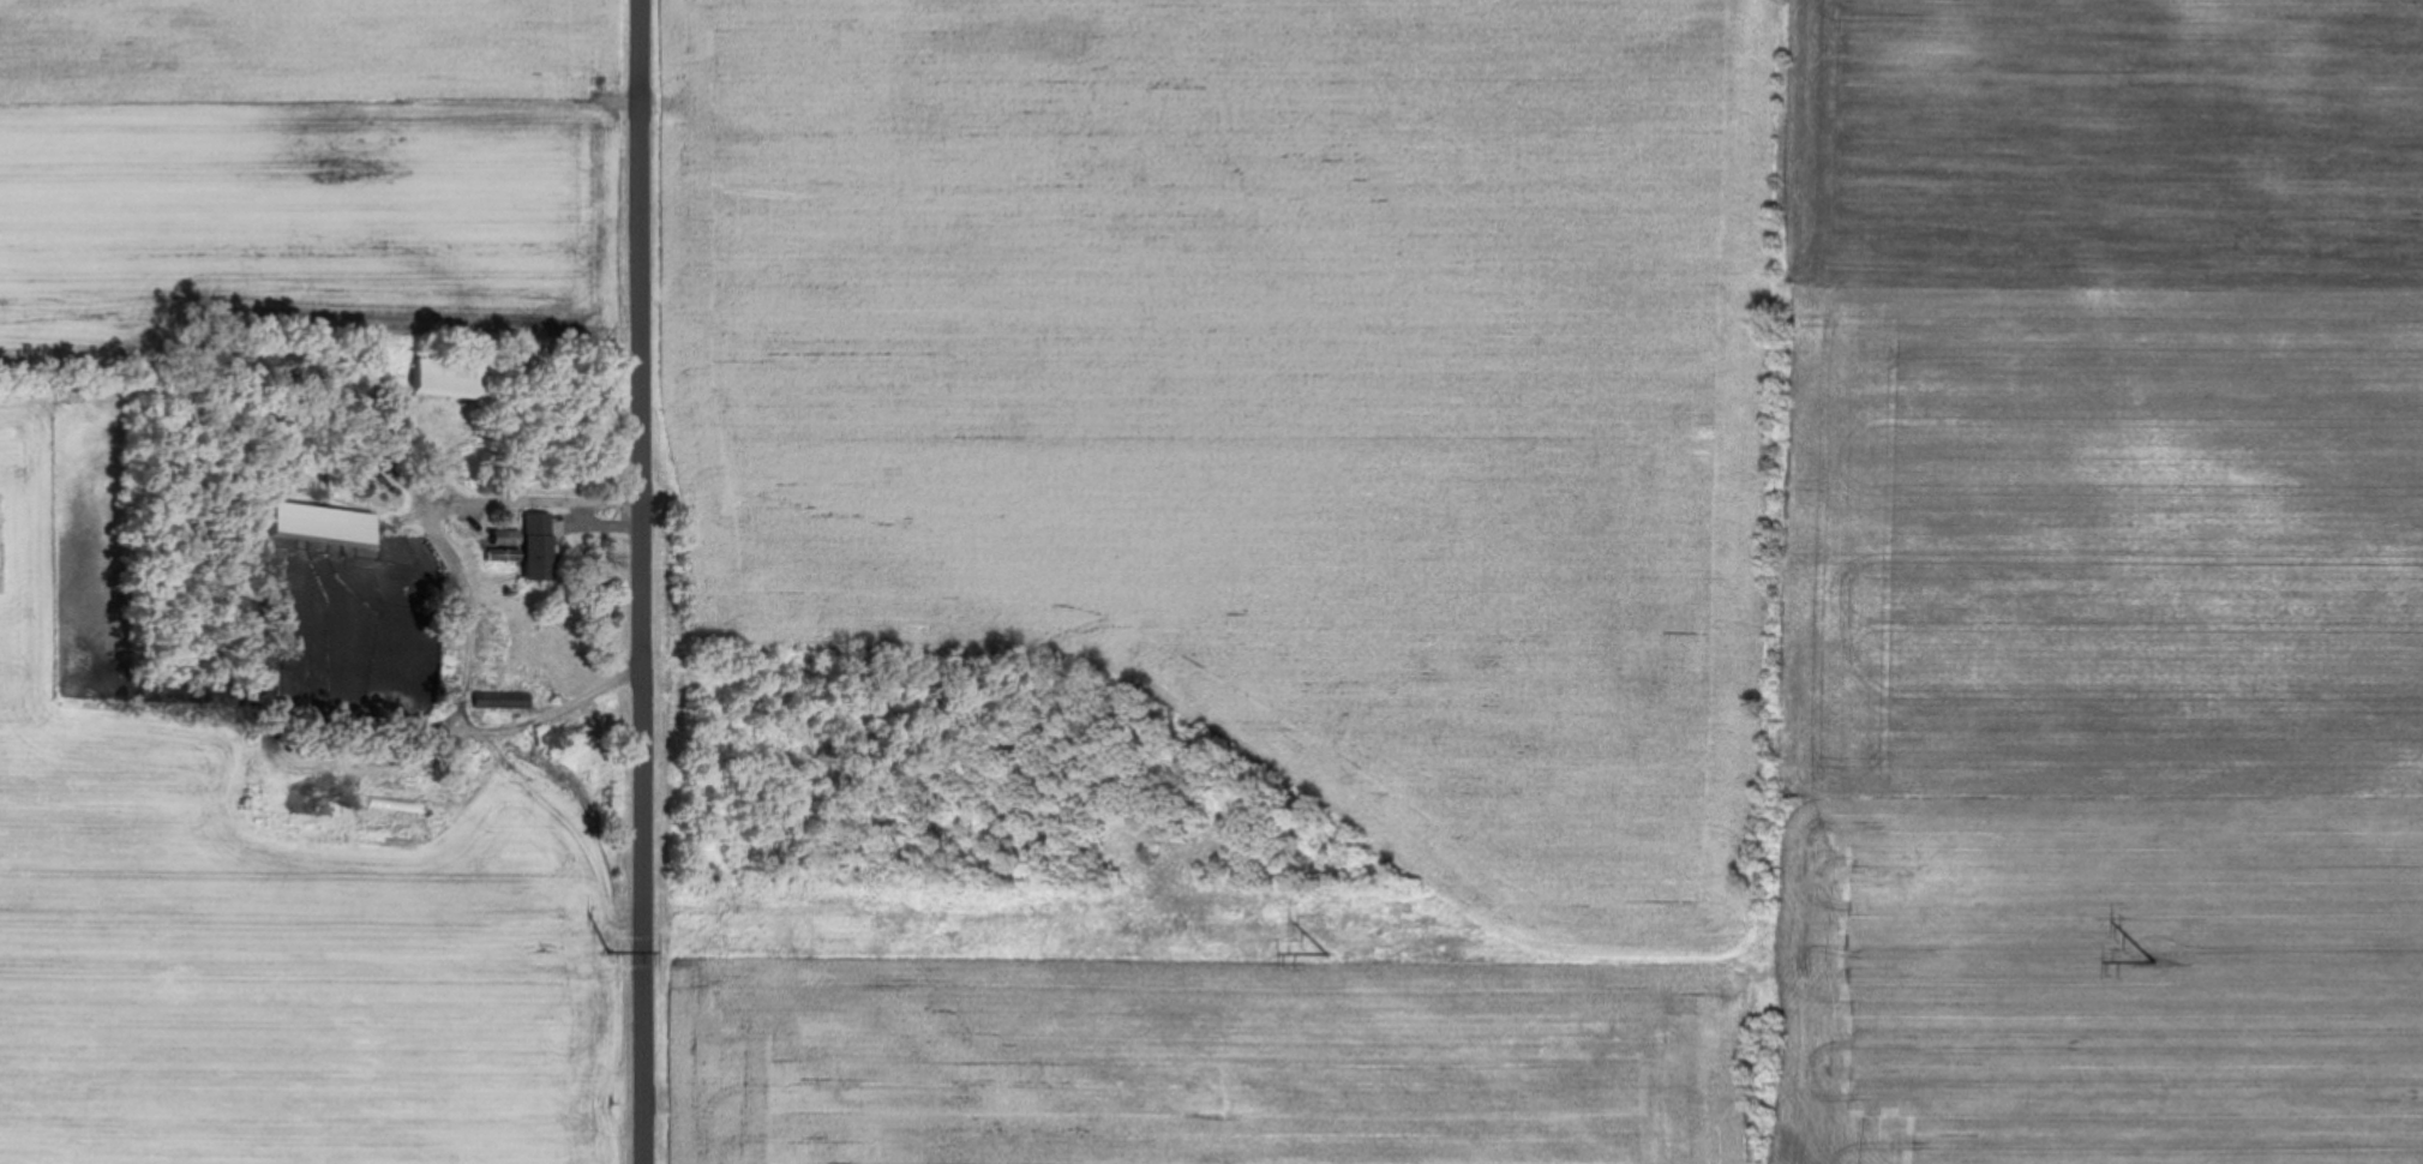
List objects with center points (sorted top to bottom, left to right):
building: (455, 377)
road: (518, 499)
building: (329, 523)
building: (542, 546)
road: (646, 582)
building: (504, 702)
road: (559, 712)
power tower: (613, 943)
power tower: (1333, 947)
power tower: (2157, 953)

